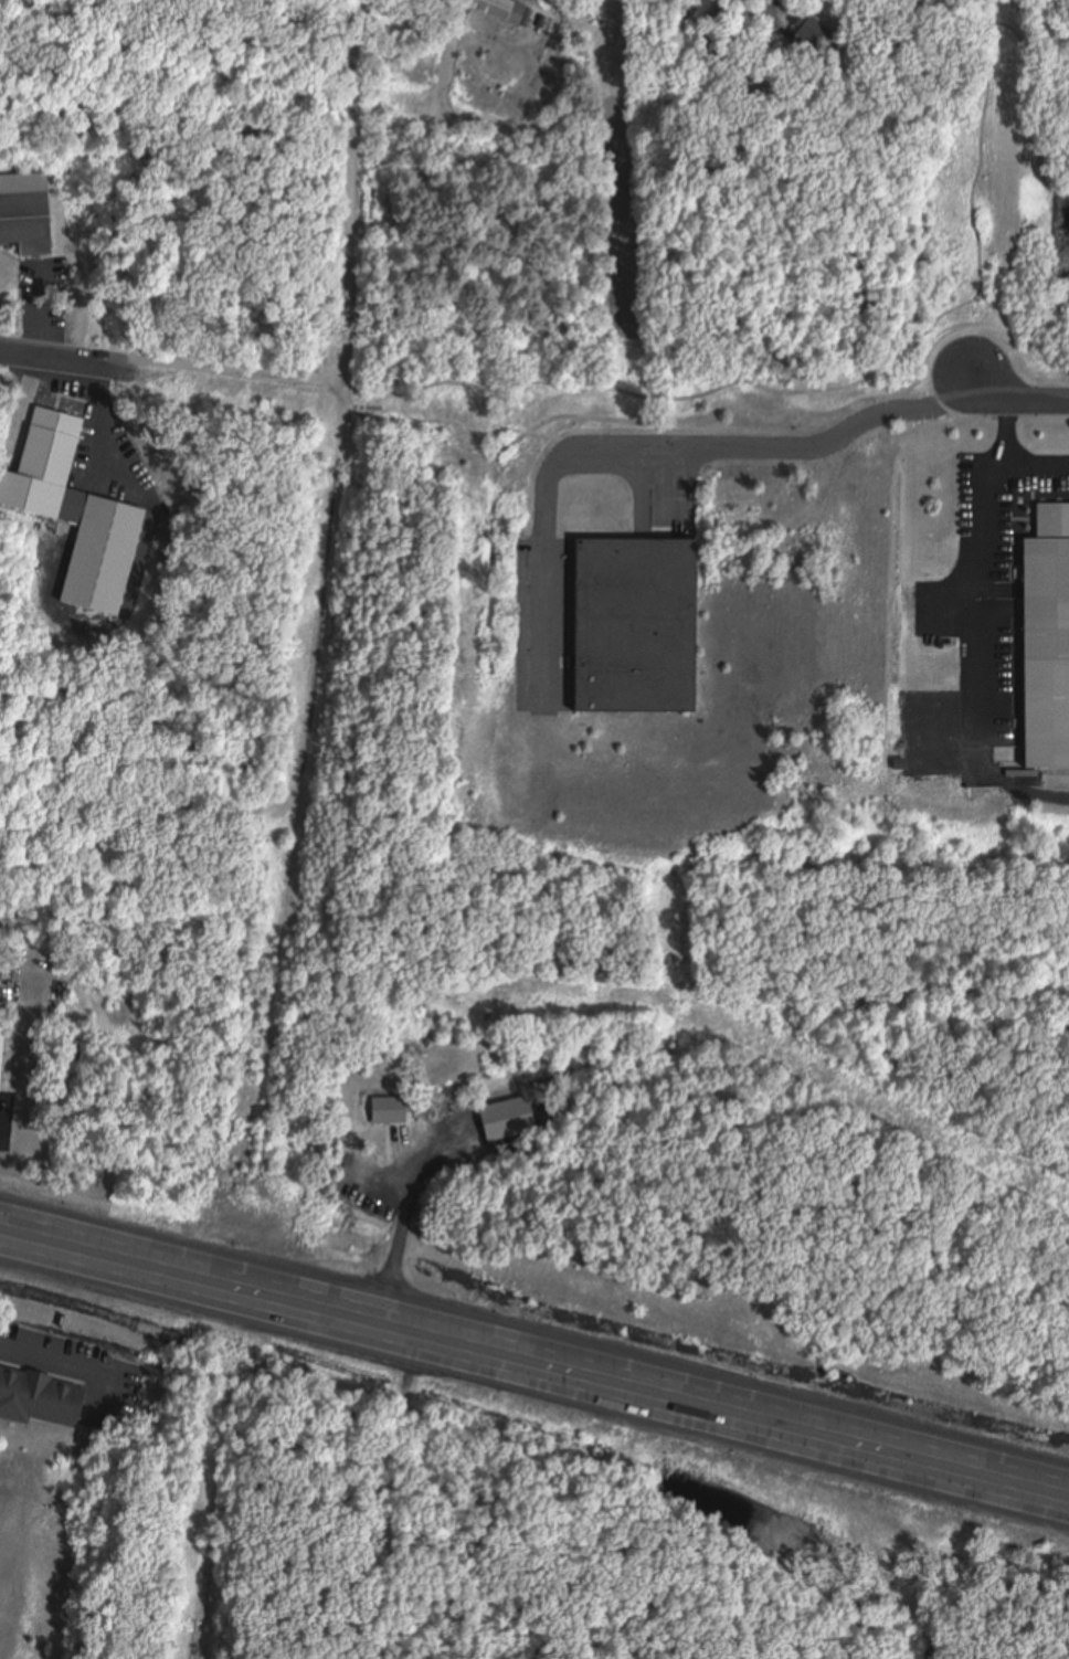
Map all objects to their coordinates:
building: (500, 11)
road: (71, 20)
building: (811, 33)
road: (121, 54)
park: (87, 63)
road: (352, 190)
building: (27, 214)
park: (982, 236)
road: (66, 358)
road: (234, 373)
road: (854, 374)
road: (1016, 394)
road: (618, 411)
road: (1036, 465)
building: (72, 515)
road: (988, 571)
road: (318, 575)
building: (631, 626)
building: (1042, 642)
road: (151, 827)
building: (0, 1026)
building: (385, 1111)
building: (504, 1120)
road: (534, 1361)
building: (41, 1397)
quarry: (251, 1494)
park: (515, 1592)
railway: (189, 1647)

